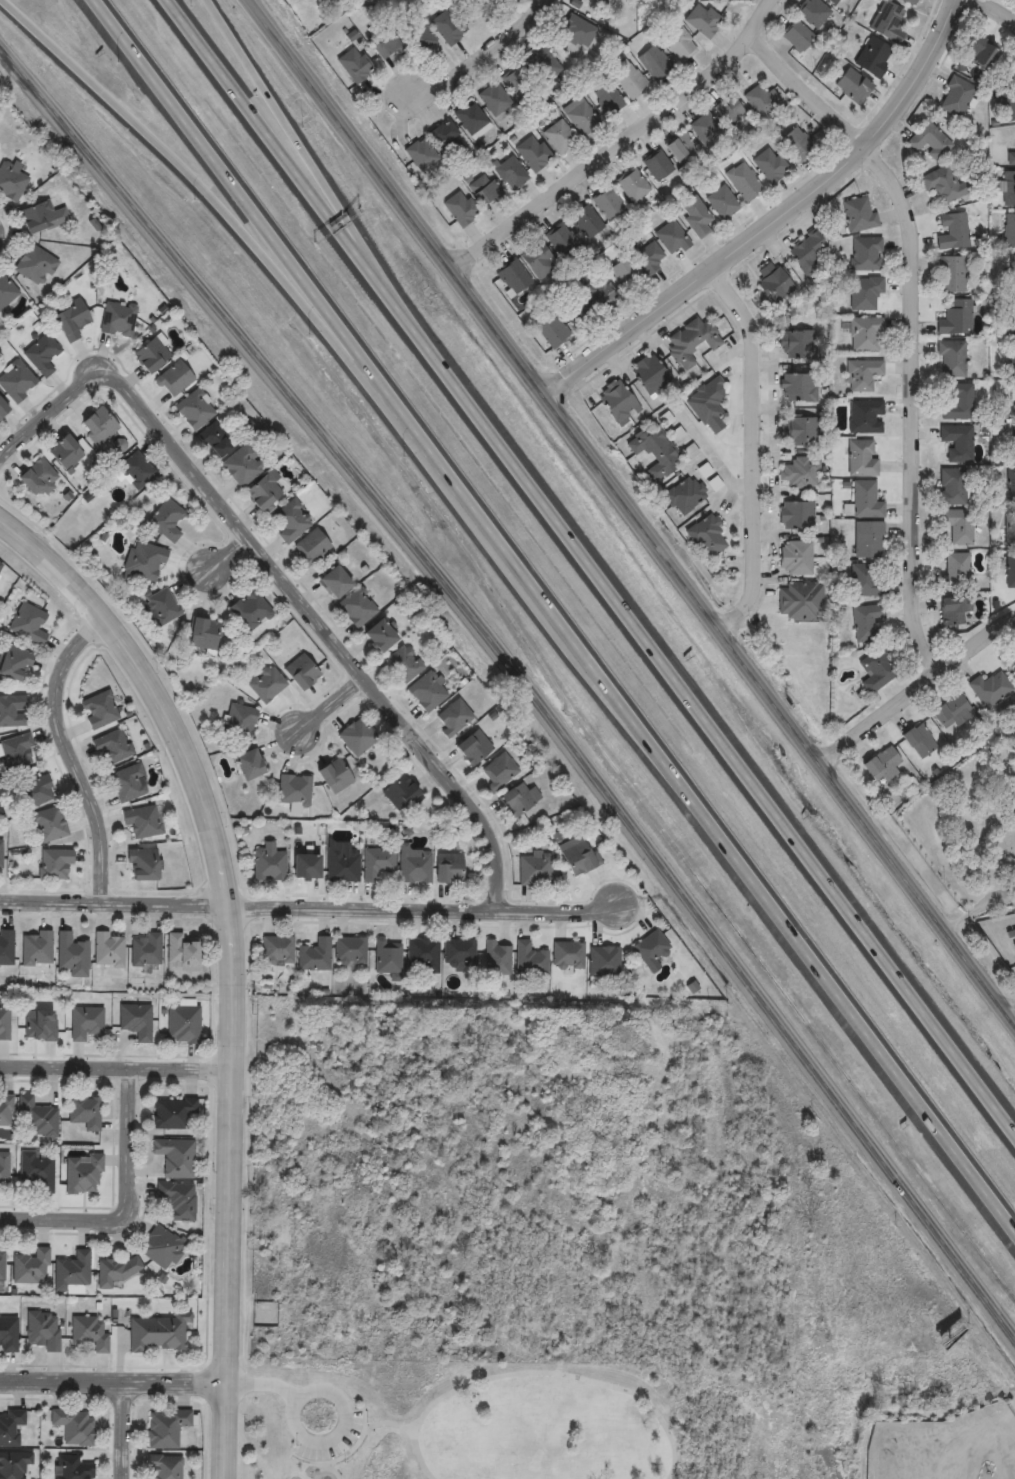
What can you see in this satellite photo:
road: (246, 0)
building: (833, 1)
building: (909, 2)
road: (999, 9)
building: (812, 12)
building: (702, 20)
building: (887, 22)
building: (447, 27)
building: (577, 31)
building: (418, 36)
building: (796, 36)
building: (680, 45)
building: (386, 47)
building: (982, 53)
building: (873, 57)
road: (479, 58)
building: (654, 62)
building: (543, 64)
building: (355, 65)
road: (10, 78)
building: (629, 80)
building: (518, 83)
building: (851, 86)
building: (955, 97)
building: (608, 98)
building: (762, 99)
building: (495, 100)
road: (272, 101)
building: (1009, 104)
building: (728, 109)
building: (581, 117)
building: (470, 118)
building: (705, 128)
building: (559, 137)
road: (349, 138)
building: (446, 138)
building: (929, 141)
road: (618, 142)
building: (797, 145)
building: (681, 149)
road: (280, 153)
building: (533, 153)
building: (422, 154)
building: (1010, 156)
building: (770, 165)
building: (657, 166)
building: (510, 173)
building: (11, 181)
building: (743, 181)
building: (944, 185)
building: (633, 186)
building: (1008, 188)
building: (484, 189)
road: (217, 201)
building: (722, 203)
building: (609, 204)
building: (461, 209)
road: (250, 211)
building: (858, 214)
building: (695, 216)
building: (42, 217)
road: (777, 221)
building: (585, 222)
building: (951, 231)
building: (1009, 231)
building: (672, 239)
building: (561, 241)
building: (807, 248)
building: (865, 254)
building: (647, 256)
road: (364, 257)
building: (537, 260)
building: (36, 266)
building: (950, 274)
building: (1013, 274)
building: (626, 275)
building: (512, 277)
building: (774, 282)
building: (6, 291)
building: (599, 291)
building: (864, 293)
building: (575, 310)
building: (1014, 316)
building: (955, 317)
building: (118, 320)
building: (71, 321)
road: (915, 324)
building: (552, 330)
building: (865, 335)
building: (691, 342)
building: (797, 344)
building: (42, 355)
building: (152, 355)
building: (1014, 358)
building: (951, 359)
building: (649, 374)
building: (862, 375)
building: (174, 379)
building: (17, 381)
building: (798, 388)
building: (617, 401)
building: (958, 403)
building: (708, 404)
building: (3, 408)
building: (195, 409)
building: (865, 417)
building: (99, 426)
building: (797, 430)
building: (215, 440)
building: (957, 442)
building: (1014, 442)
road: (755, 449)
building: (655, 452)
building: (66, 453)
road: (710, 457)
building: (861, 458)
building: (242, 465)
building: (137, 470)
building: (799, 473)
building: (38, 478)
building: (952, 486)
building: (1011, 486)
building: (265, 494)
building: (684, 495)
building: (866, 500)
building: (796, 514)
building: (167, 520)
building: (293, 522)
road: (482, 523)
building: (956, 527)
building: (1008, 529)
building: (706, 537)
building: (868, 539)
building: (311, 546)
building: (795, 557)
building: (146, 560)
road: (228, 562)
building: (0, 563)
building: (0, 566)
building: (956, 570)
building: (1010, 571)
building: (867, 580)
building: (333, 582)
road: (280, 583)
building: (801, 600)
building: (162, 607)
building: (356, 608)
building: (953, 610)
building: (250, 611)
building: (868, 623)
building: (27, 624)
building: (203, 634)
building: (379, 636)
road: (734, 648)
building: (14, 663)
building: (403, 664)
building: (877, 670)
building: (301, 672)
building: (267, 684)
road: (916, 688)
building: (990, 689)
building: (427, 691)
road: (509, 697)
building: (12, 710)
building: (99, 710)
road: (331, 711)
building: (950, 711)
road: (706, 720)
building: (241, 721)
building: (357, 736)
building: (919, 740)
building: (112, 747)
building: (472, 747)
building: (16, 752)
road: (71, 759)
building: (248, 764)
building: (882, 765)
building: (498, 772)
building: (334, 776)
building: (128, 783)
building: (294, 790)
building: (33, 791)
building: (401, 794)
building: (518, 799)
building: (142, 821)
building: (49, 824)
park: (970, 828)
building: (1, 857)
building: (579, 858)
building: (54, 863)
building: (377, 863)
building: (269, 864)
building: (141, 865)
building: (342, 865)
building: (415, 866)
building: (305, 867)
building: (448, 867)
building: (534, 871)
road: (308, 910)
road: (978, 911)
road: (787, 923)
building: (1014, 939)
building: (6, 948)
building: (651, 948)
building: (36, 949)
building: (107, 949)
building: (278, 949)
building: (145, 950)
building: (350, 950)
building: (70, 952)
building: (459, 952)
building: (180, 954)
building: (314, 955)
building: (567, 955)
building: (387, 956)
building: (422, 956)
building: (496, 958)
building: (530, 959)
road: (235, 961)
building: (604, 962)
building: (4, 1020)
building: (137, 1020)
road: (1014, 1021)
building: (87, 1024)
building: (183, 1024)
building: (40, 1025)
road: (117, 1067)
building: (6, 1112)
building: (84, 1112)
building: (172, 1114)
building: (37, 1119)
building: (175, 1157)
building: (37, 1171)
building: (3, 1172)
building: (82, 1175)
building: (177, 1200)
road: (127, 1205)
building: (160, 1248)
building: (2, 1264)
building: (29, 1267)
building: (115, 1271)
building: (71, 1272)
building: (43, 1330)
building: (90, 1332)
building: (8, 1333)
building: (157, 1334)
road: (578, 1368)
road: (113, 1380)
road: (263, 1385)
road: (339, 1398)
road: (396, 1413)
park: (512, 1422)
building: (74, 1427)
building: (11, 1428)
building: (166, 1429)
road: (124, 1430)
road: (244, 1434)
road: (429, 1452)
building: (14, 1465)
building: (164, 1468)
building: (71, 1469)

